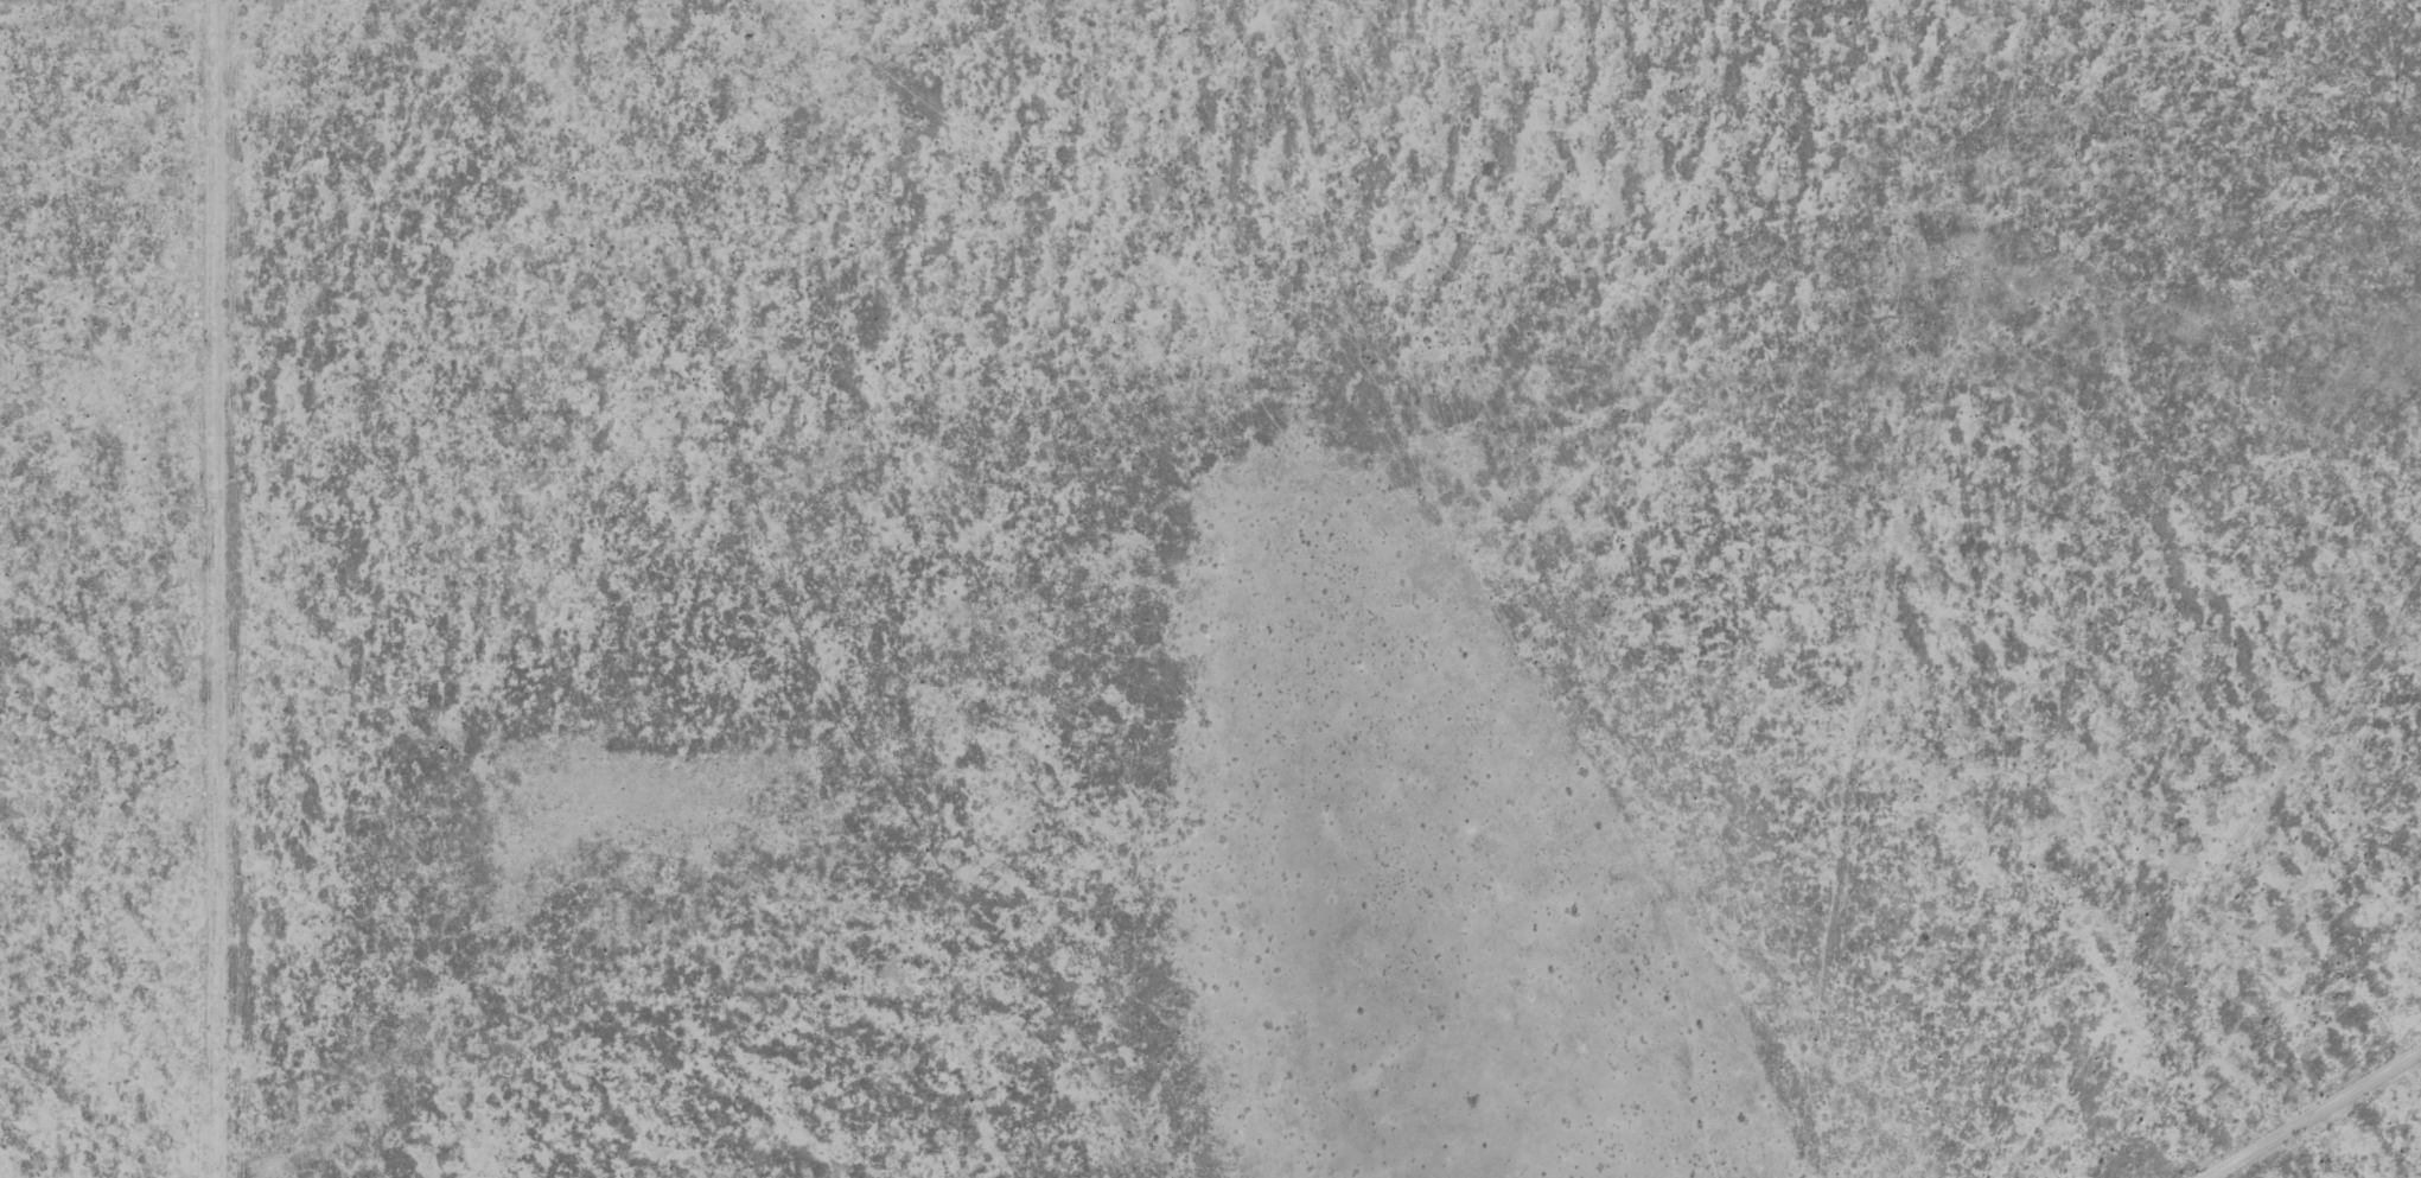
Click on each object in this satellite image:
road: (2342, 1129)

